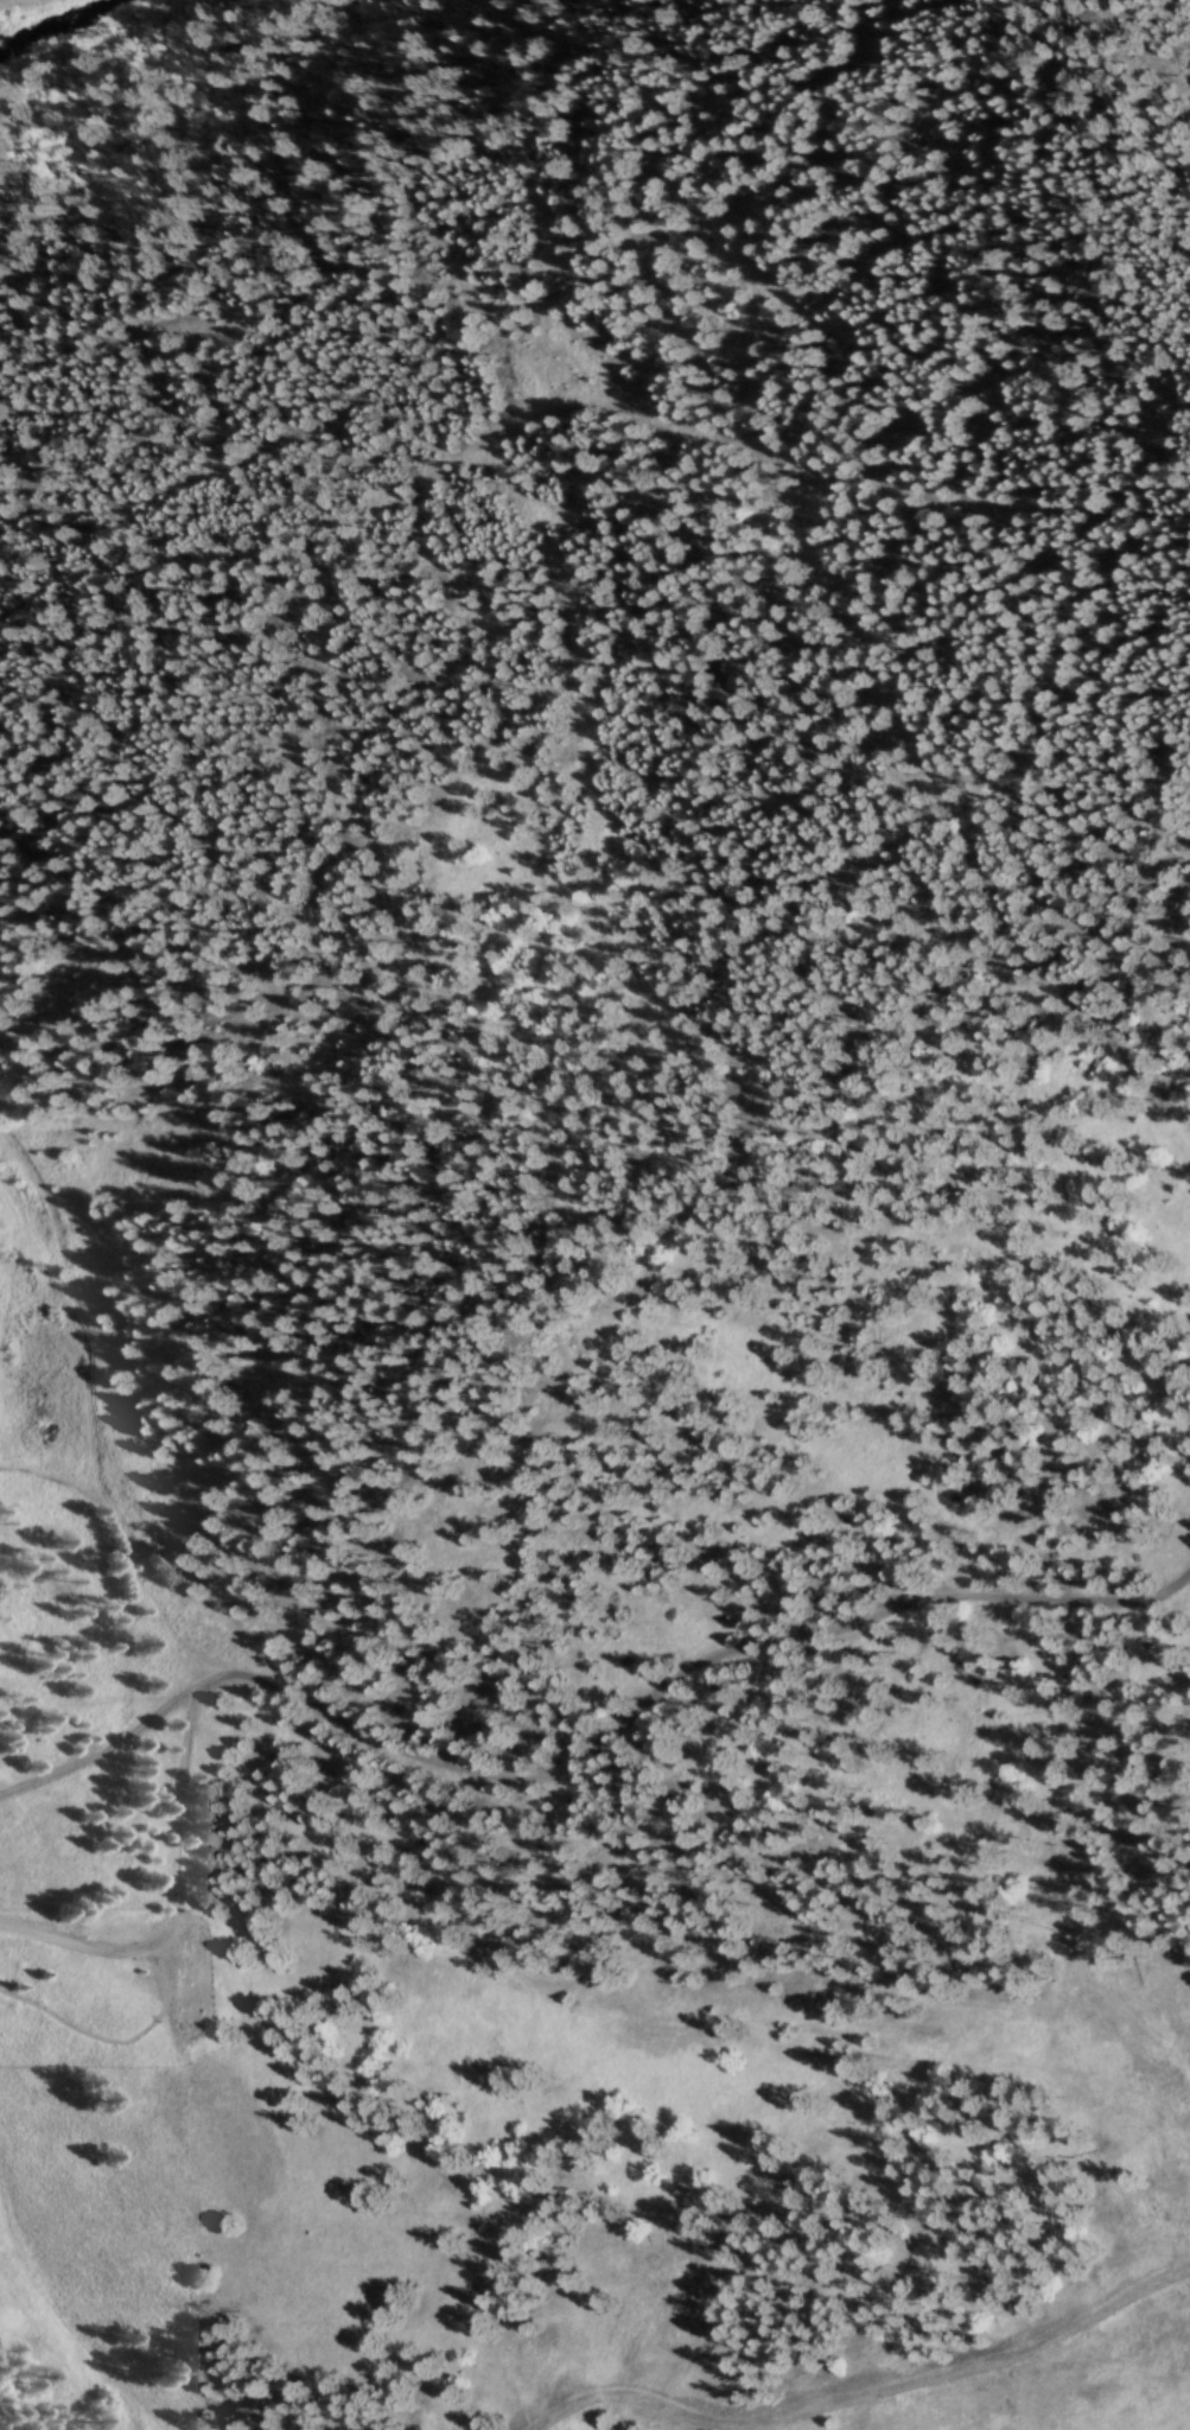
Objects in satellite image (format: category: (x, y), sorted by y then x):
road: (590, 1760)
road: (183, 1906)

